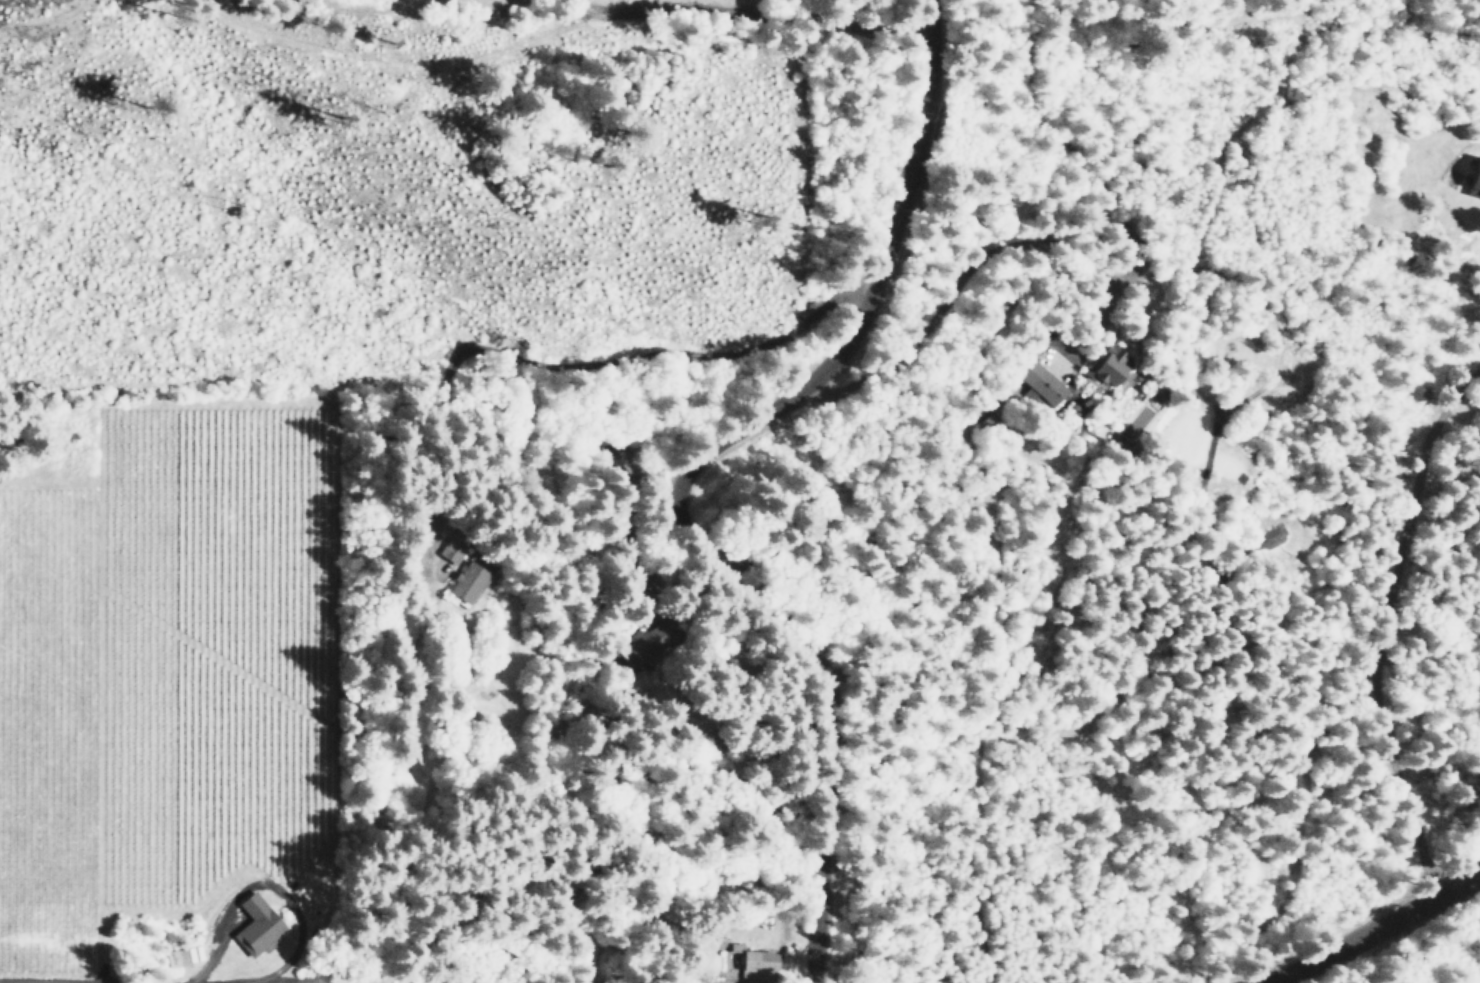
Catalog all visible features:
road: (838, 14)
building: (1473, 175)
building: (1108, 366)
building: (1040, 385)
road: (685, 471)
building: (450, 551)
building: (466, 583)
building: (638, 650)
road: (1362, 924)
building: (253, 925)
building: (185, 956)
building: (754, 963)
road: (162, 982)

